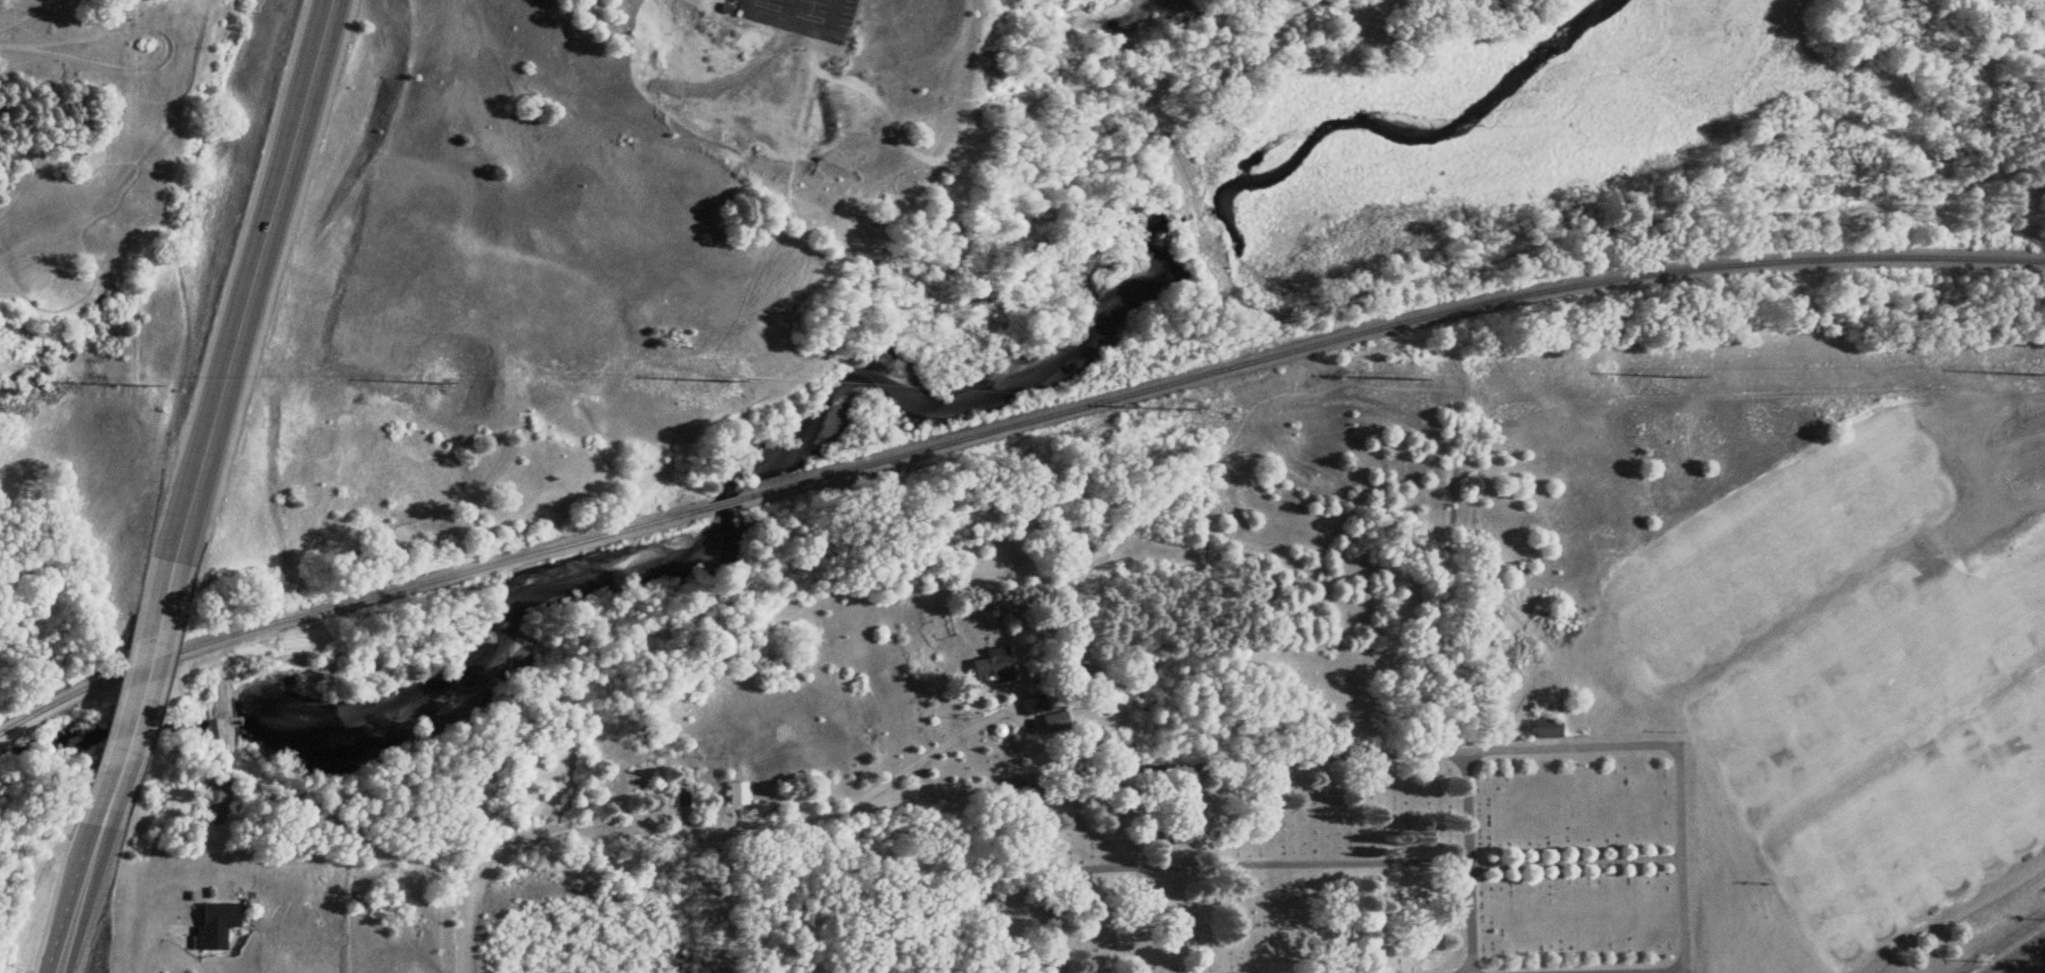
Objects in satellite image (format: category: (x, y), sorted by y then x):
road: (1360, 9)
road: (790, 10)
parking lot: (798, 15)
road: (799, 23)
road: (1186, 73)
road: (249, 282)
road: (936, 308)
railway: (1382, 327)
power tower: (2028, 375)
power tower: (1679, 378)
power tower: (725, 380)
power tower: (1404, 380)
power tower: (431, 383)
power tower: (140, 388)
power tower: (1172, 407)
road: (2000, 423)
parking lot: (1995, 476)
railway: (720, 503)
railway: (347, 602)
building: (991, 669)
park: (1851, 669)
road: (136, 694)
building: (1052, 723)
building: (1544, 729)
road: (937, 745)
road: (1529, 747)
building: (633, 780)
building: (734, 794)
road: (352, 825)
road: (763, 828)
road: (1463, 861)
road: (1361, 862)
park: (1262, 863)
road: (1048, 873)
road: (76, 898)
road: (460, 909)
building: (213, 925)
road: (147, 936)
road: (2018, 955)
road: (1681, 971)

